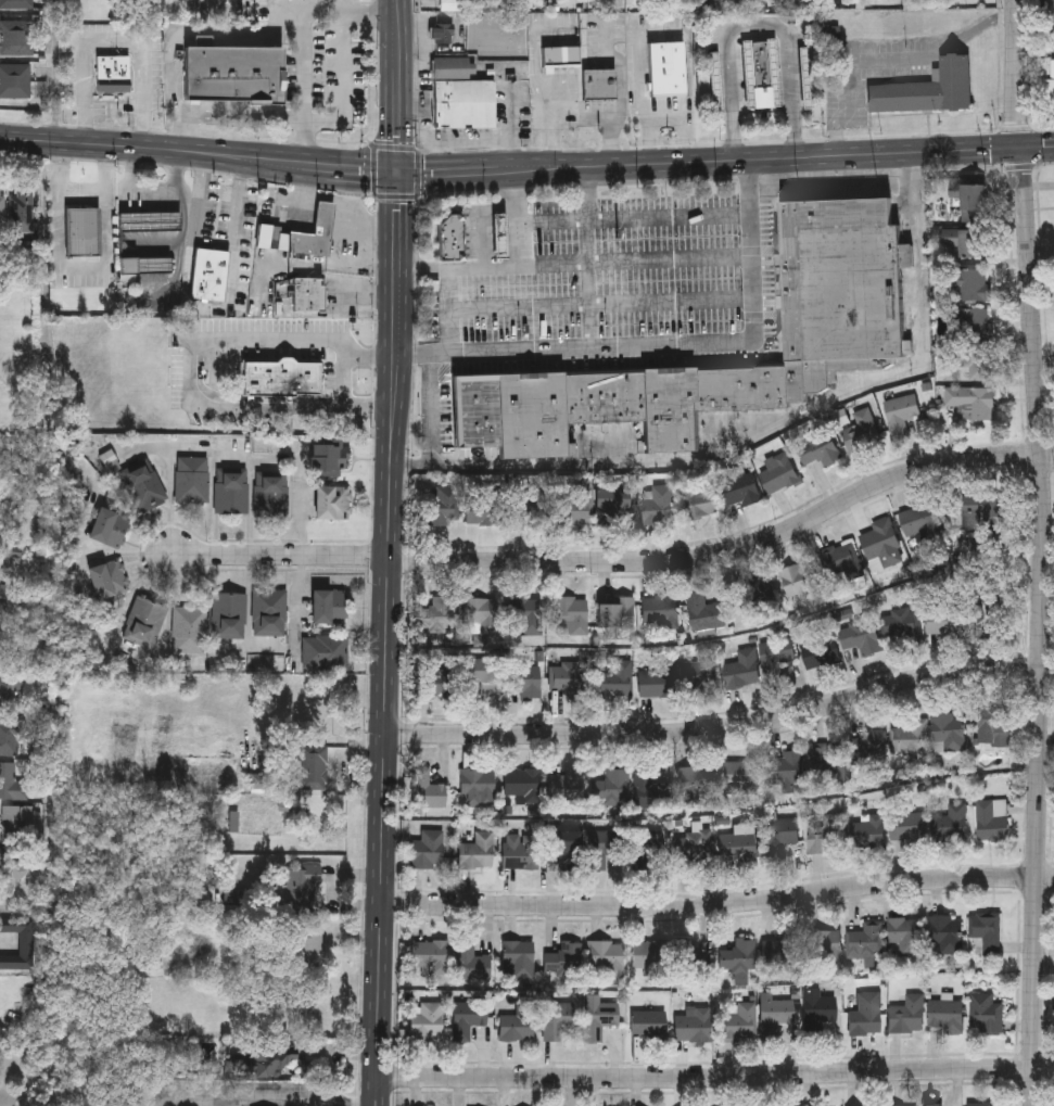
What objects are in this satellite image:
building: (16, 3)
building: (455, 5)
building: (1051, 15)
road: (758, 26)
road: (201, 31)
road: (671, 33)
building: (442, 35)
building: (16, 37)
road: (114, 39)
road: (307, 43)
building: (561, 58)
road: (891, 61)
building: (668, 69)
road: (59, 71)
building: (233, 73)
building: (762, 74)
road: (346, 81)
building: (1051, 82)
building: (14, 84)
building: (599, 86)
building: (927, 91)
building: (461, 94)
road: (245, 116)
road: (1015, 129)
road: (186, 132)
road: (649, 136)
road: (122, 144)
traffic signals: (1018, 147)
road: (398, 149)
road: (648, 163)
road: (1018, 167)
road: (376, 171)
traffic signals: (399, 174)
road: (417, 174)
road: (704, 179)
road: (344, 185)
road: (833, 188)
road: (398, 195)
road: (340, 199)
road: (200, 201)
building: (969, 201)
building: (22, 207)
building: (2, 208)
road: (589, 215)
road: (636, 216)
building: (150, 219)
road: (521, 219)
road: (238, 225)
building: (84, 230)
building: (301, 232)
building: (499, 234)
gas station: (499, 234)
building: (450, 237)
building: (970, 242)
road: (0, 255)
road: (366, 260)
building: (144, 264)
road: (625, 265)
road: (81, 269)
building: (209, 272)
road: (191, 274)
building: (838, 281)
building: (968, 284)
building: (309, 293)
road: (602, 303)
road: (593, 305)
road: (213, 307)
road: (454, 312)
building: (968, 325)
road: (613, 345)
building: (970, 361)
road: (193, 370)
building: (282, 377)
building: (970, 402)
building: (900, 414)
building: (861, 432)
road: (738, 448)
building: (817, 449)
building: (330, 457)
road: (411, 462)
building: (778, 474)
building: (193, 479)
building: (145, 486)
building: (232, 490)
building: (739, 490)
building: (271, 493)
building: (333, 501)
building: (698, 501)
building: (610, 503)
building: (658, 505)
building: (440, 507)
building: (561, 507)
building: (482, 508)
building: (979, 511)
building: (917, 521)
building: (109, 527)
building: (880, 545)
road: (731, 550)
road: (392, 552)
road: (1041, 552)
road: (282, 556)
building: (842, 562)
building: (109, 579)
building: (800, 583)
building: (758, 596)
building: (328, 606)
building: (619, 611)
building: (659, 611)
building: (269, 612)
building: (702, 612)
building: (436, 613)
building: (481, 614)
building: (569, 614)
building: (229, 615)
building: (525, 615)
building: (986, 619)
building: (145, 622)
building: (898, 623)
building: (942, 623)
building: (189, 630)
building: (860, 637)
road: (275, 648)
building: (326, 651)
building: (818, 652)
building: (774, 659)
building: (740, 670)
building: (698, 674)
building: (461, 676)
building: (617, 678)
building: (573, 679)
building: (657, 681)
building: (11, 694)
building: (994, 725)
road: (724, 728)
building: (947, 733)
building: (10, 737)
building: (910, 738)
building: (867, 748)
building: (827, 760)
building: (315, 765)
building: (785, 772)
building: (741, 774)
building: (258, 779)
building: (11, 781)
building: (535, 783)
building: (564, 784)
building: (696, 784)
building: (646, 786)
building: (477, 787)
building: (611, 788)
building: (426, 789)
building: (20, 819)
building: (991, 819)
building: (949, 824)
building: (905, 827)
building: (866, 831)
building: (824, 836)
building: (779, 837)
building: (564, 841)
building: (737, 846)
building: (602, 847)
building: (696, 848)
building: (427, 850)
building: (477, 851)
building: (519, 851)
building: (649, 853)
building: (13, 867)
building: (301, 887)
road: (720, 903)
building: (945, 933)
building: (904, 935)
building: (985, 935)
building: (26, 944)
building: (863, 944)
road: (5, 945)
building: (824, 946)
building: (310, 948)
building: (778, 950)
building: (649, 954)
building: (428, 955)
building: (607, 957)
building: (691, 957)
building: (738, 957)
building: (563, 958)
building: (517, 959)
building: (471, 962)
building: (817, 1010)
building: (906, 1015)
building: (985, 1015)
building: (598, 1016)
building: (865, 1016)
building: (944, 1016)
building: (774, 1017)
building: (467, 1018)
building: (556, 1018)
building: (424, 1020)
building: (518, 1021)
building: (648, 1022)
building: (739, 1022)
building: (693, 1024)
building: (264, 1061)
road: (718, 1075)
road: (266, 1098)
building: (932, 1105)
building: (981, 1105)

